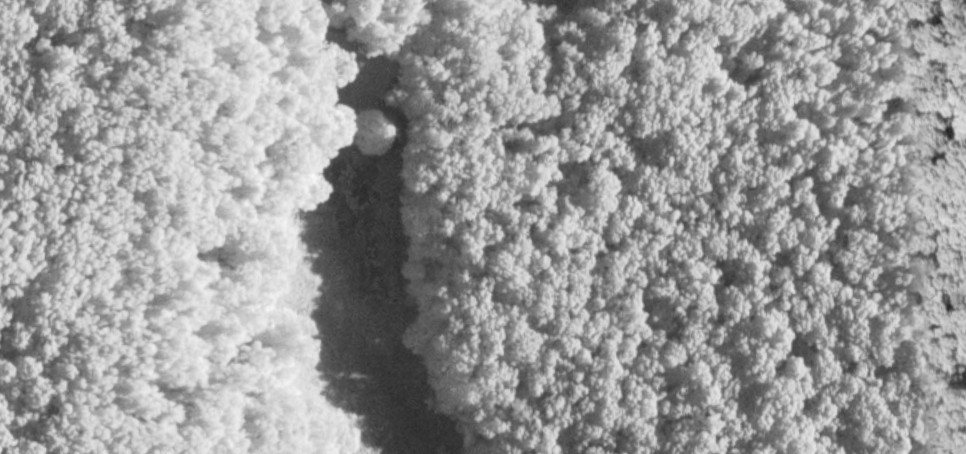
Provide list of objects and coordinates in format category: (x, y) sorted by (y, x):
park: (483, 227)

